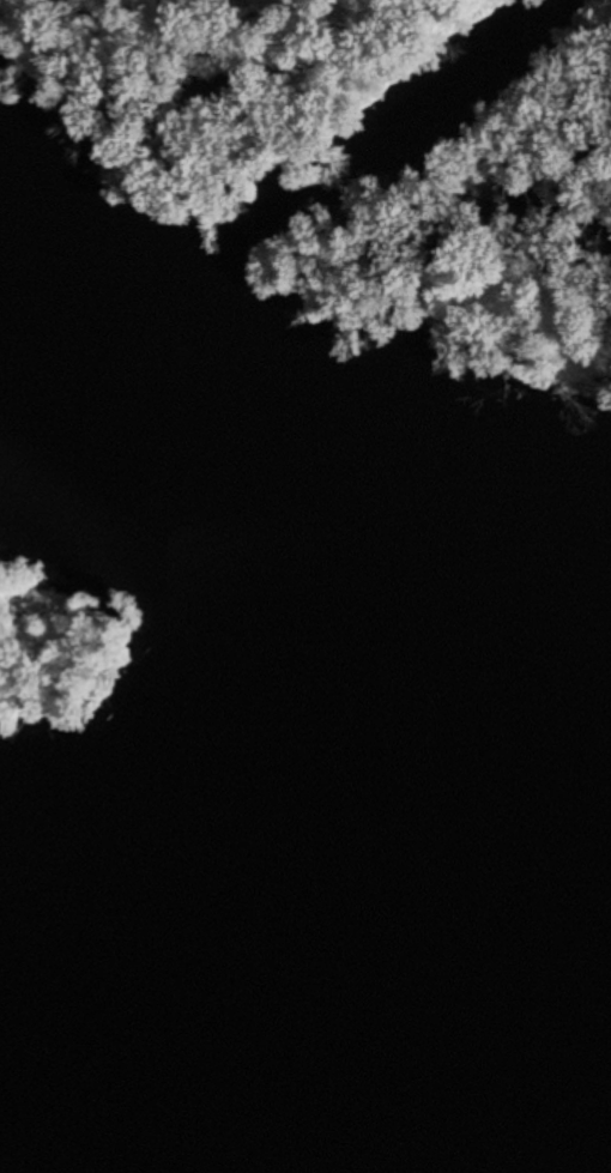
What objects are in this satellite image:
river: (303, 1039)

